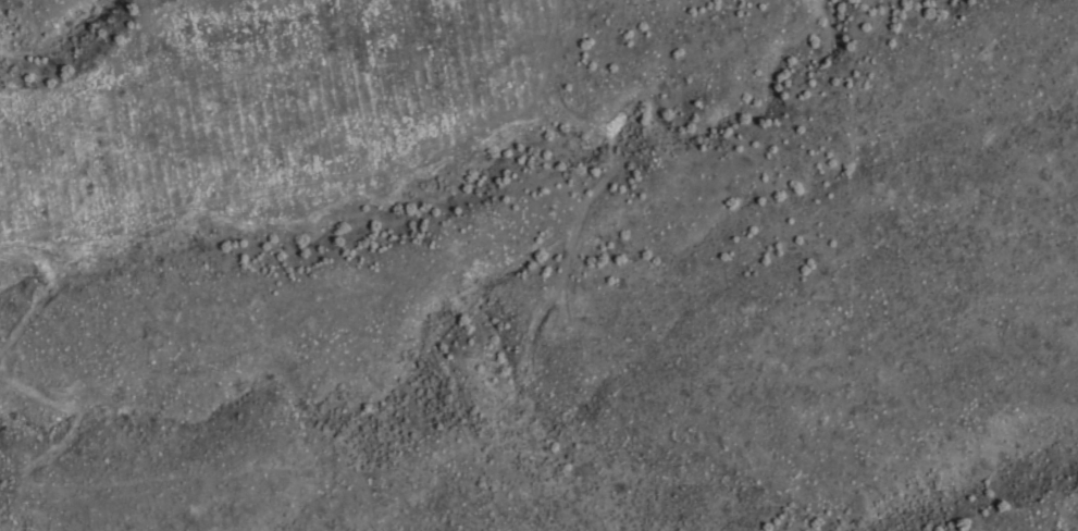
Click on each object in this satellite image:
crop: (249, 125)

